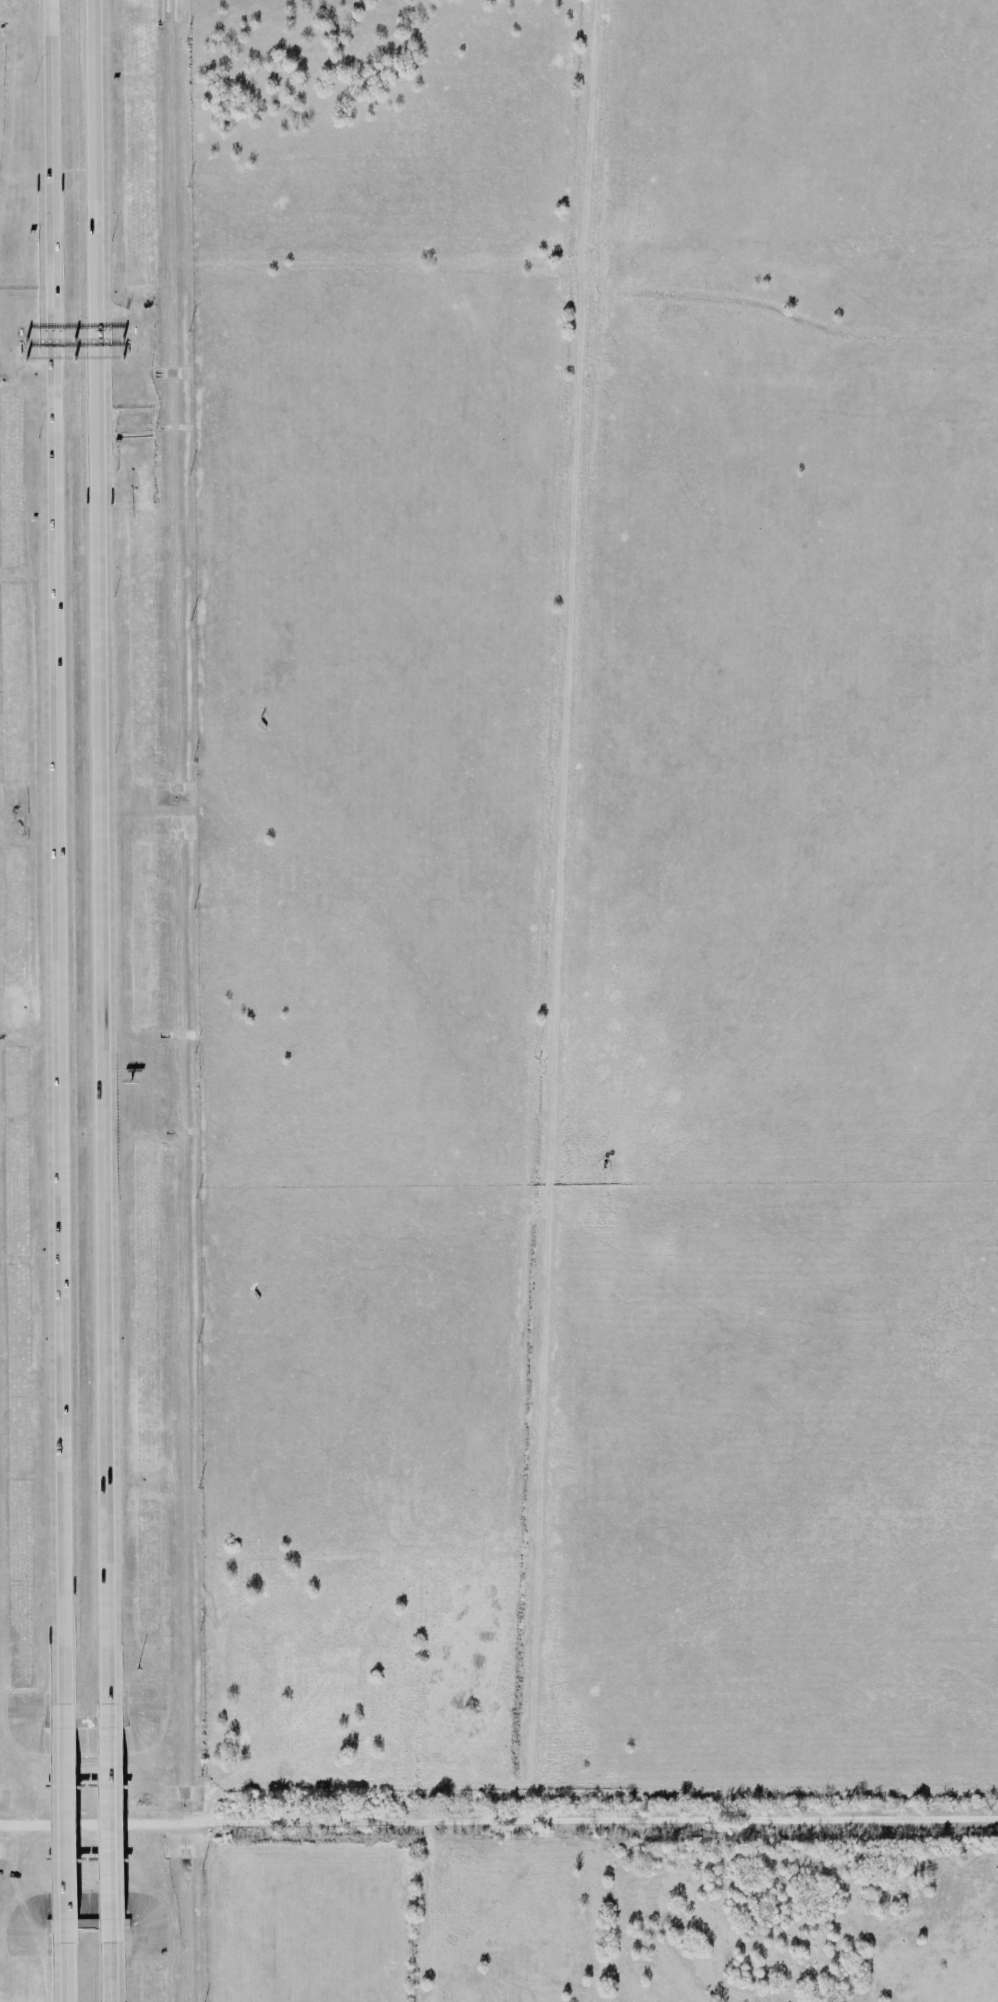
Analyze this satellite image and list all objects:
road: (54, 852)
road: (100, 852)
road: (499, 1822)
road: (64, 1823)
road: (108, 1823)
road: (65, 1972)
road: (109, 1972)

